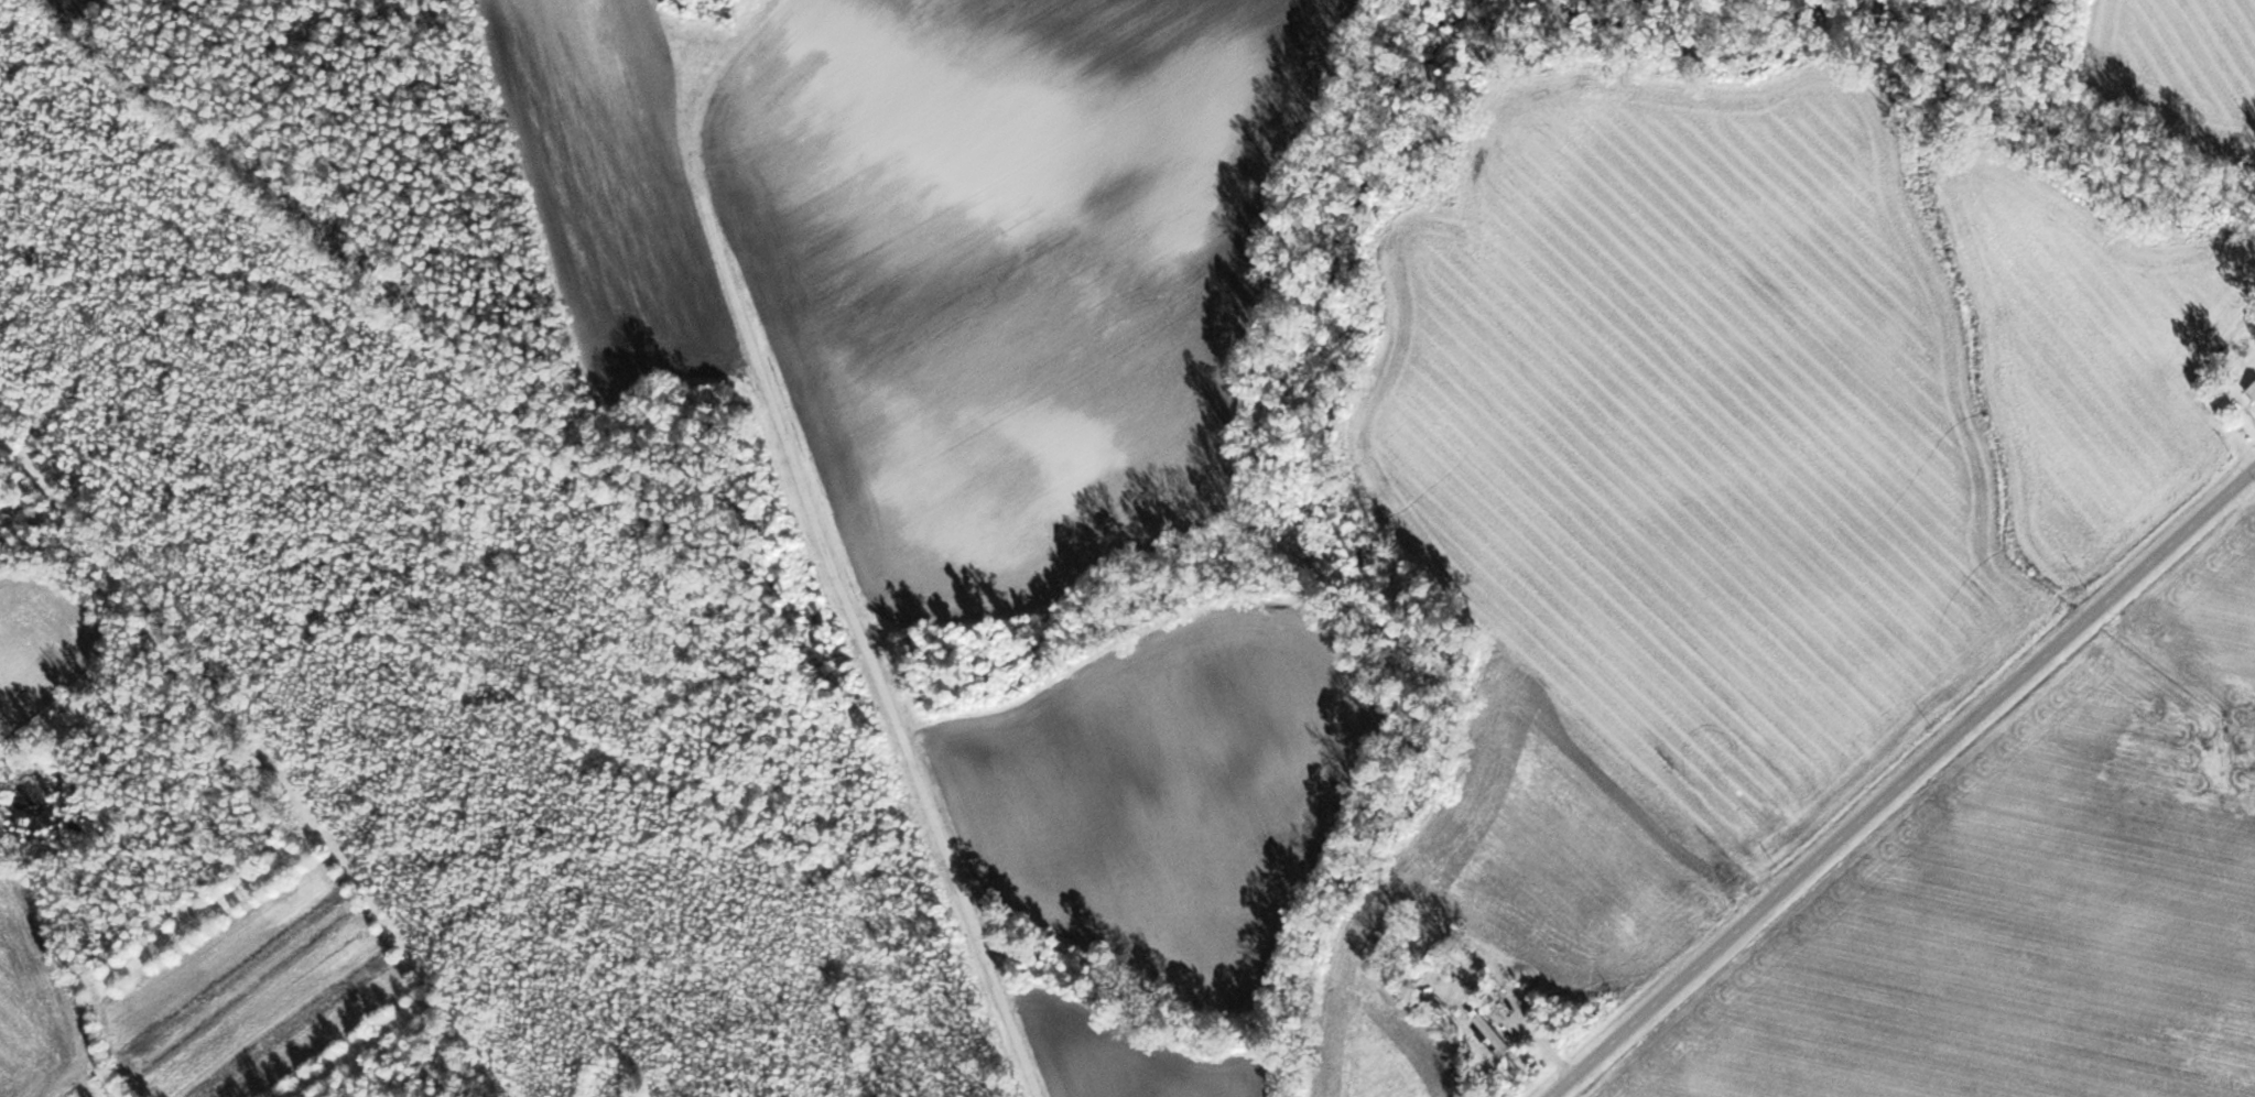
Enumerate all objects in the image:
building: (2251, 390)
road: (2238, 397)
road: (891, 687)
road: (1899, 779)
building: (1488, 989)

